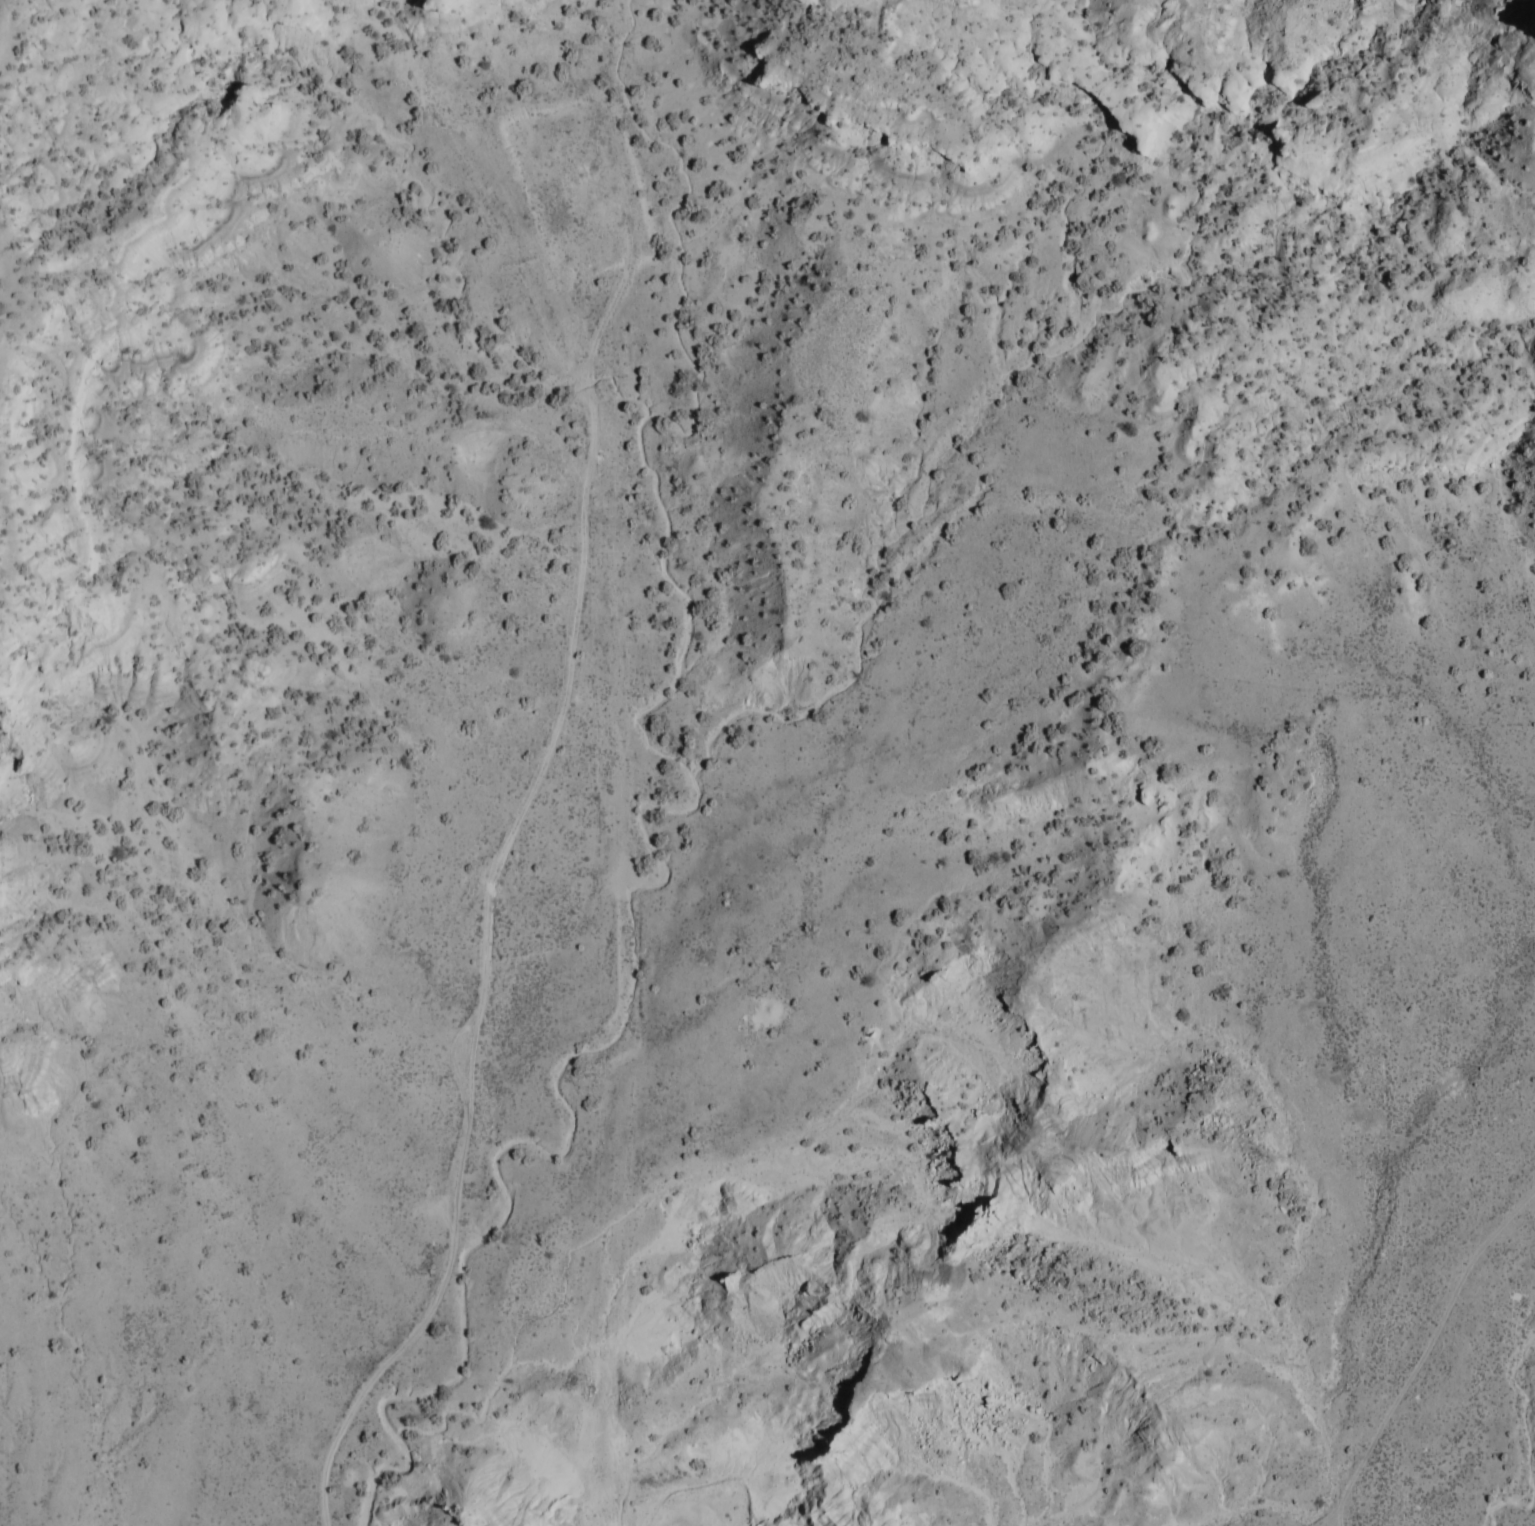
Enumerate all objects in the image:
road: (1423, 1261)

